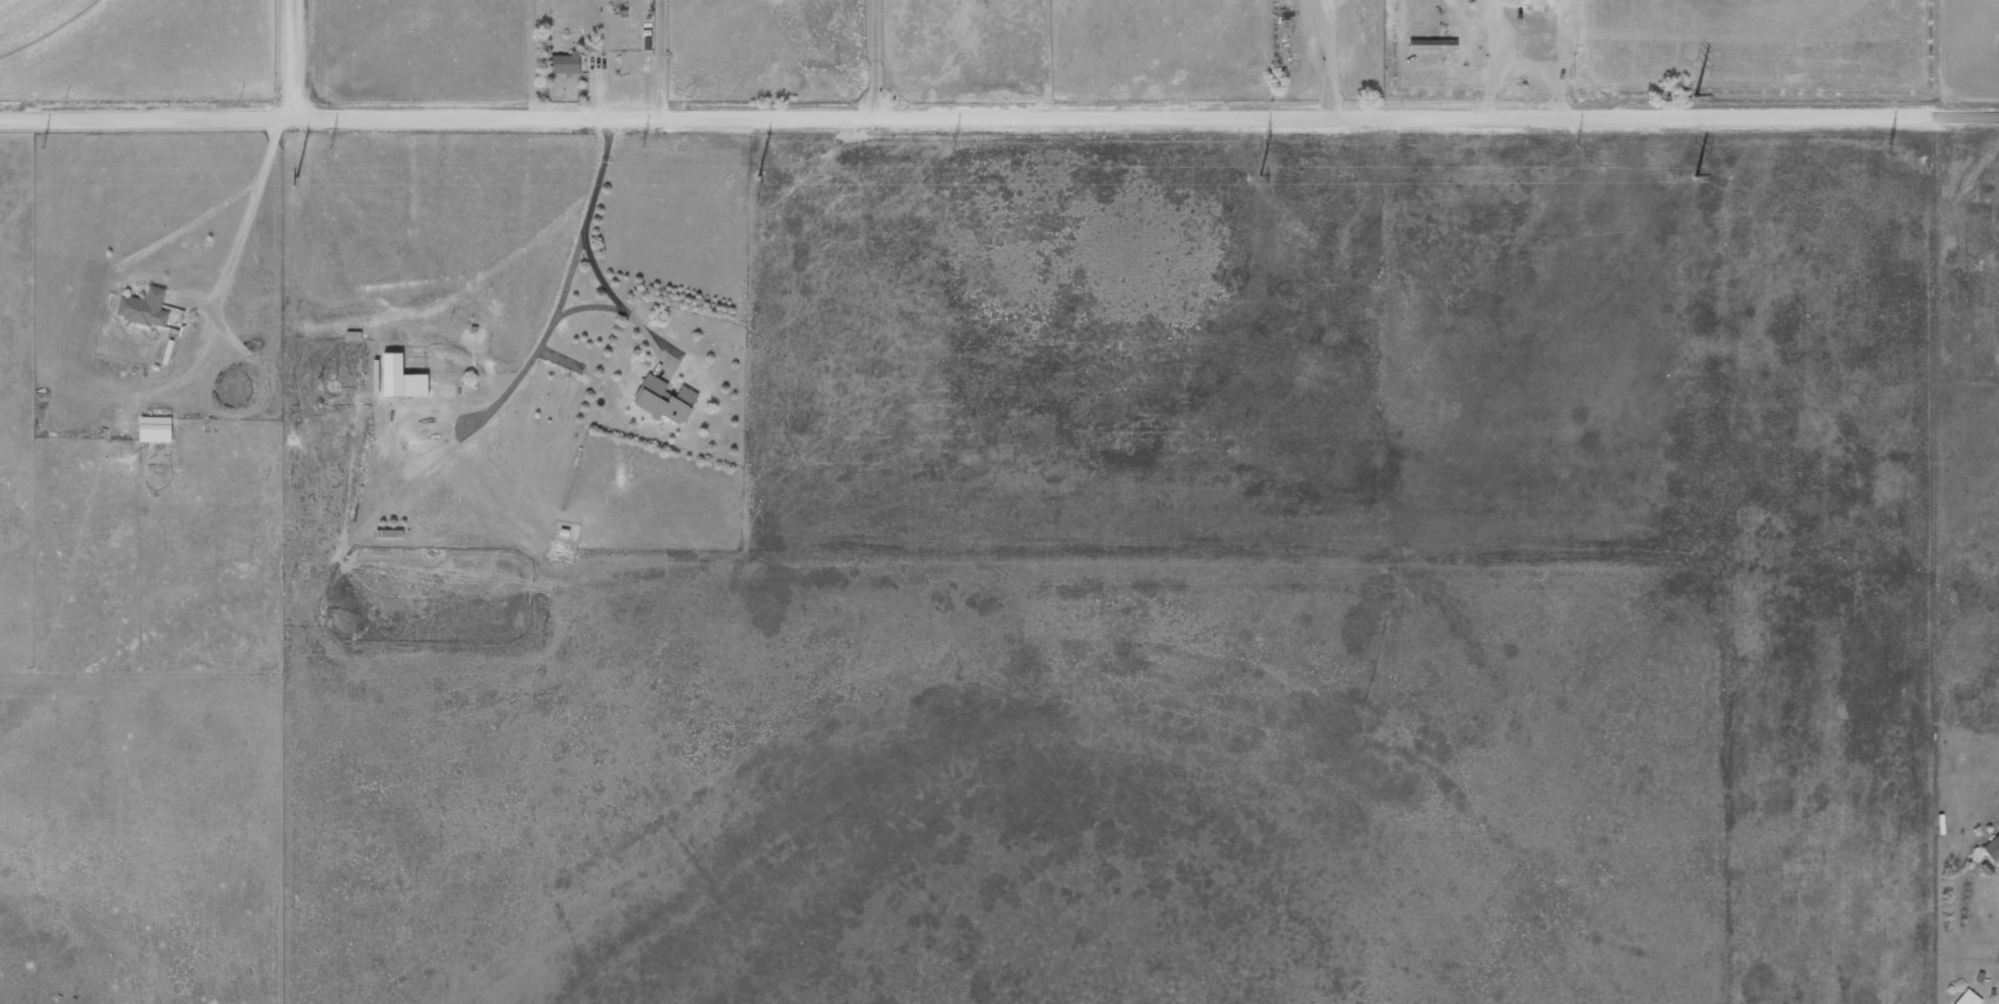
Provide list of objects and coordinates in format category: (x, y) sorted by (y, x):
building: (1539, 3)
crop: (40, 27)
building: (1434, 45)
road: (295, 58)
building: (567, 63)
power tower: (1693, 95)
road: (999, 115)
power tower: (1266, 137)
power tower: (1576, 140)
power tower: (331, 142)
power tower: (952, 142)
power tower: (642, 143)
power tower: (42, 144)
power tower: (1887, 151)
power tower: (753, 175)
power tower: (1252, 175)
power tower: (294, 176)
power tower: (1691, 177)
road: (247, 210)
building: (145, 308)
building: (355, 335)
building: (403, 379)
building: (665, 400)
building: (156, 429)
building: (1993, 848)
building: (1970, 998)

